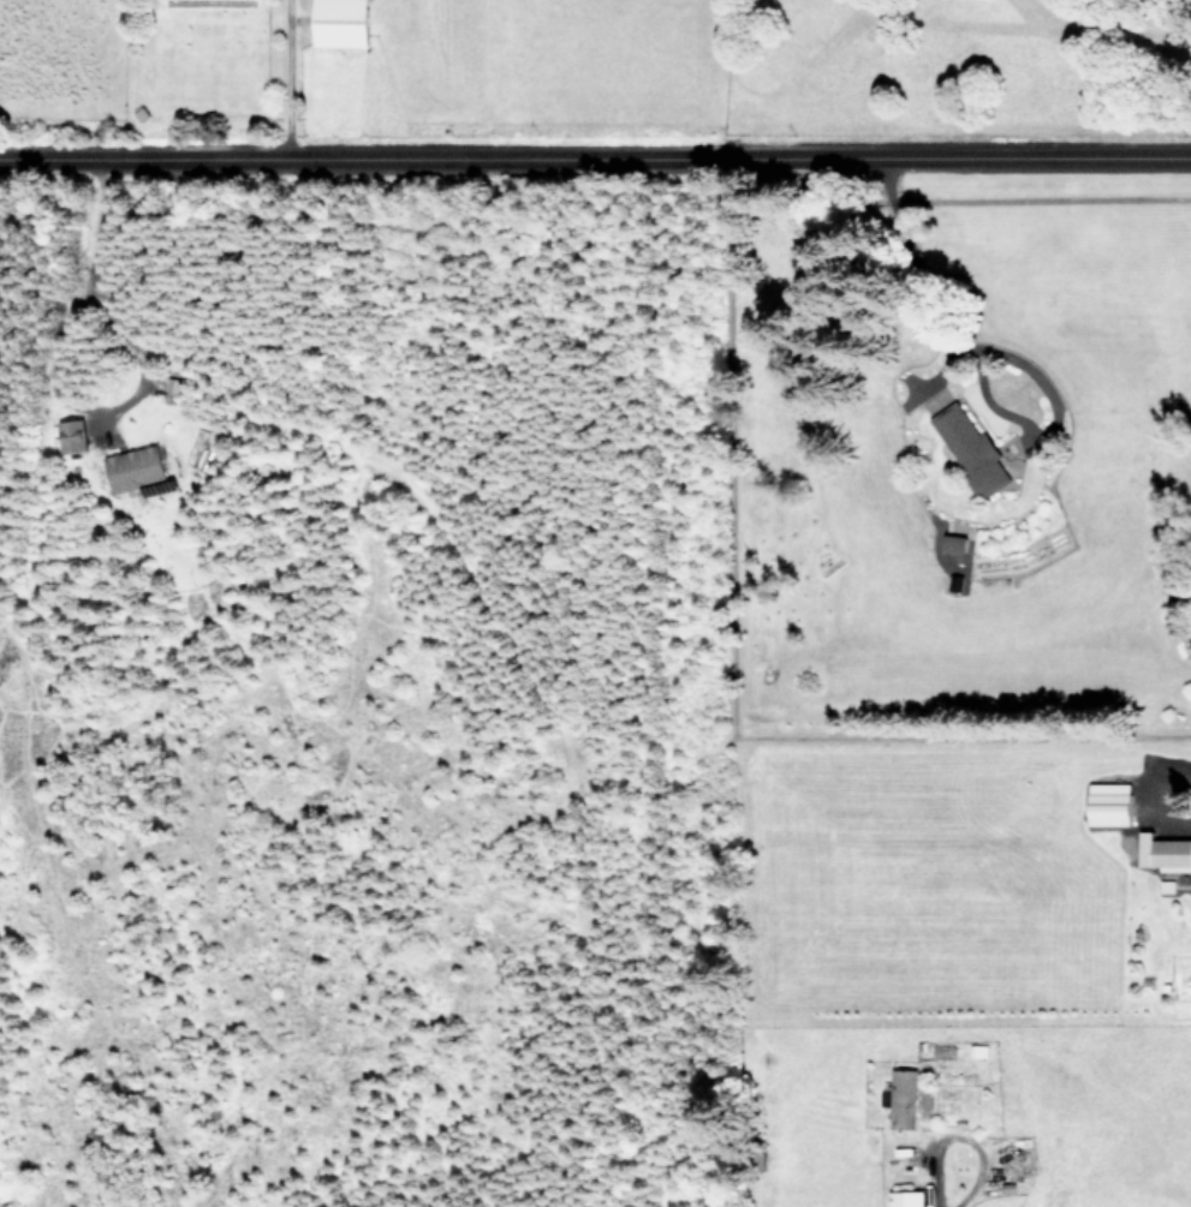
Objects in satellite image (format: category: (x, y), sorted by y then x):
building: (338, 22)
road: (279, 76)
road: (595, 151)
road: (95, 291)
road: (990, 348)
building: (72, 435)
building: (970, 449)
building: (136, 470)
building: (954, 545)
building: (1108, 802)
building: (1163, 852)
building: (977, 1050)
building: (903, 1098)
road: (959, 1128)
building: (904, 1197)
road: (929, 1205)

